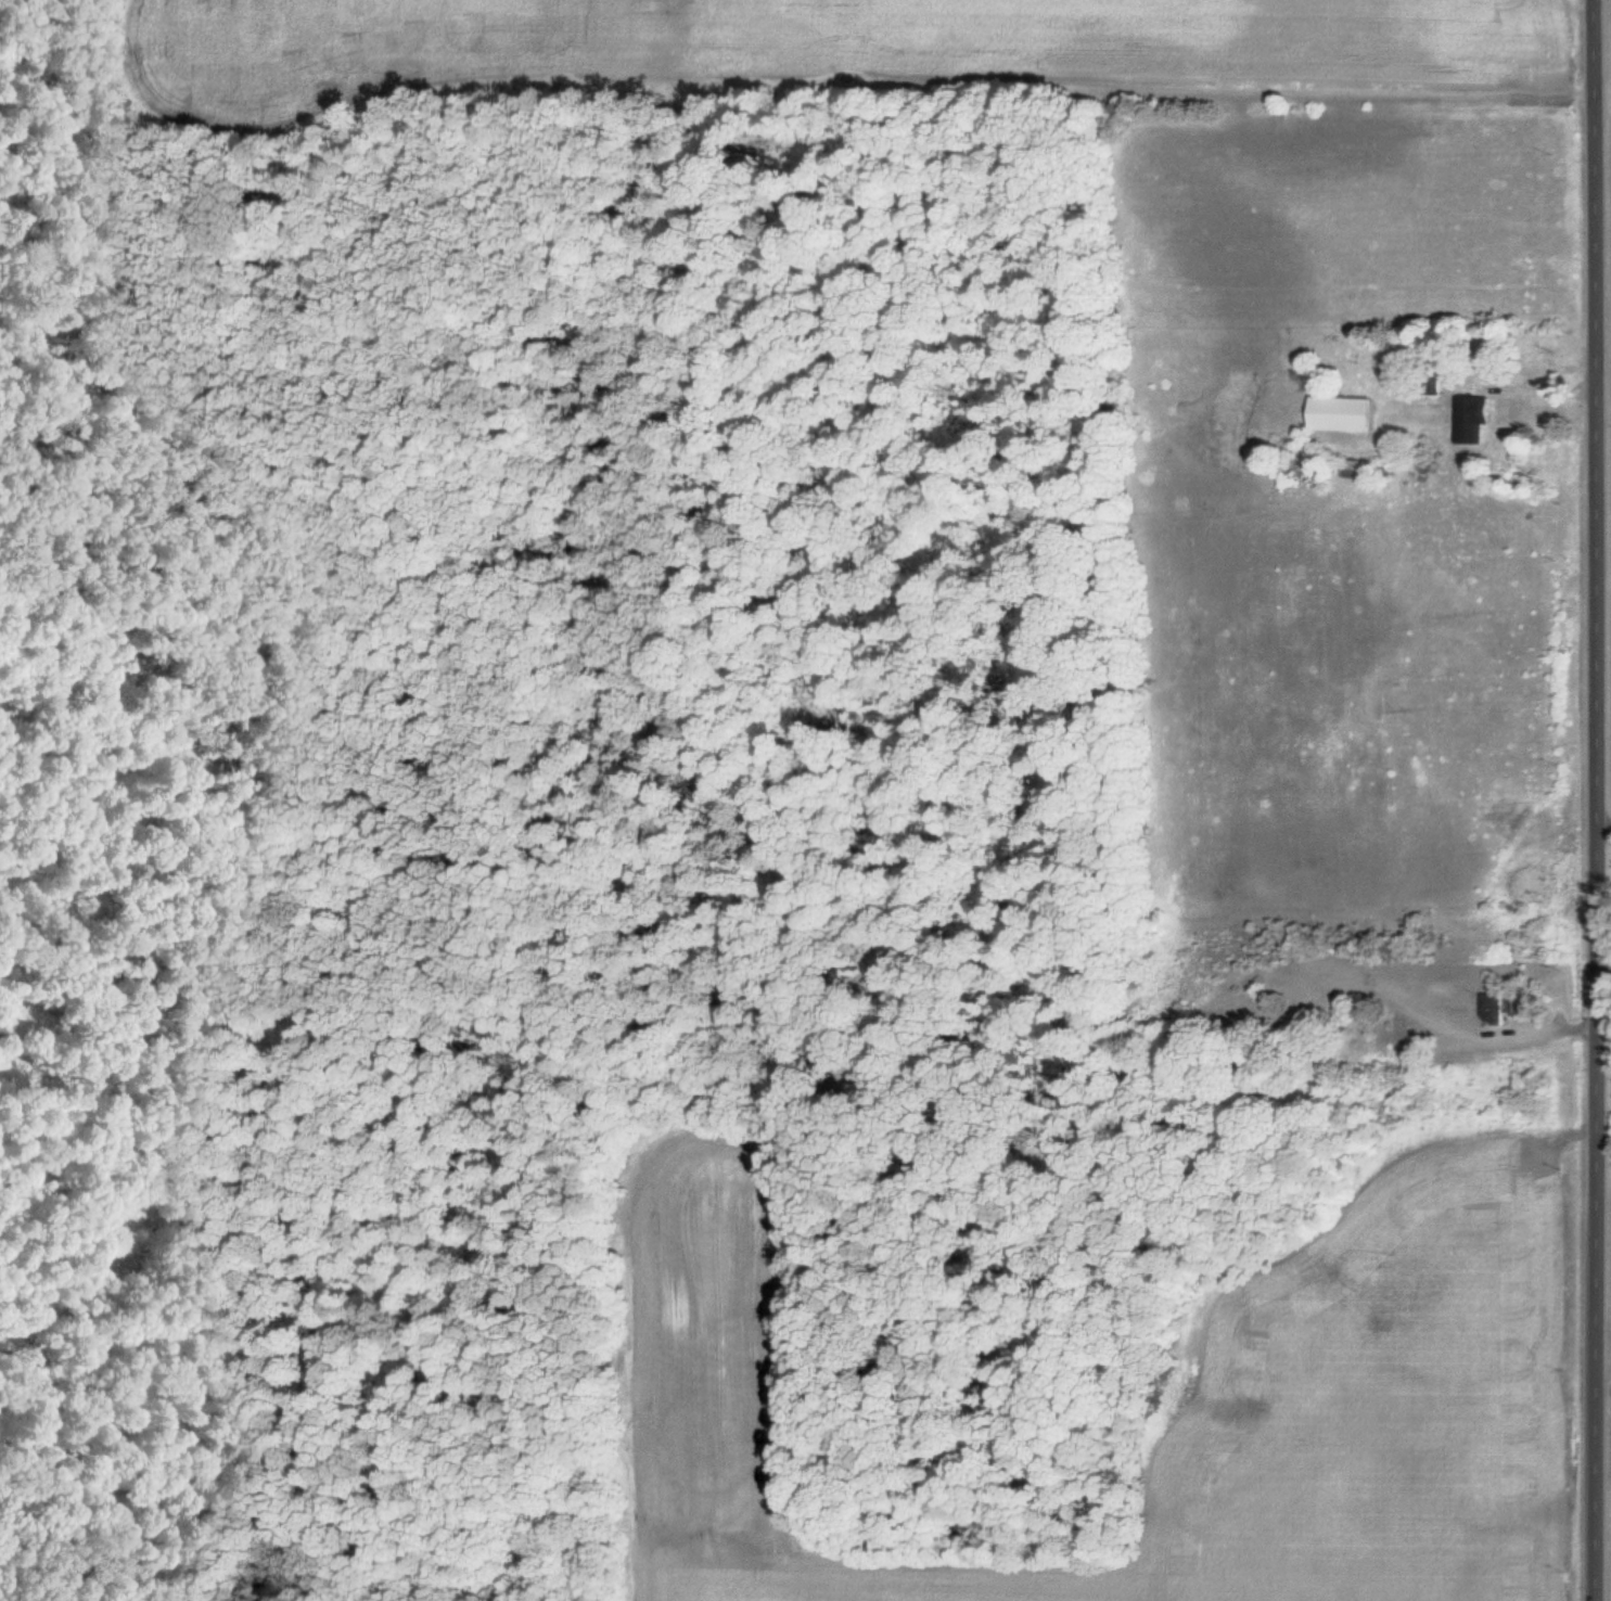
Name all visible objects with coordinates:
building: (1510, 411)
building: (1351, 413)
building: (1365, 466)
road: (1573, 801)
building: (1499, 1009)

